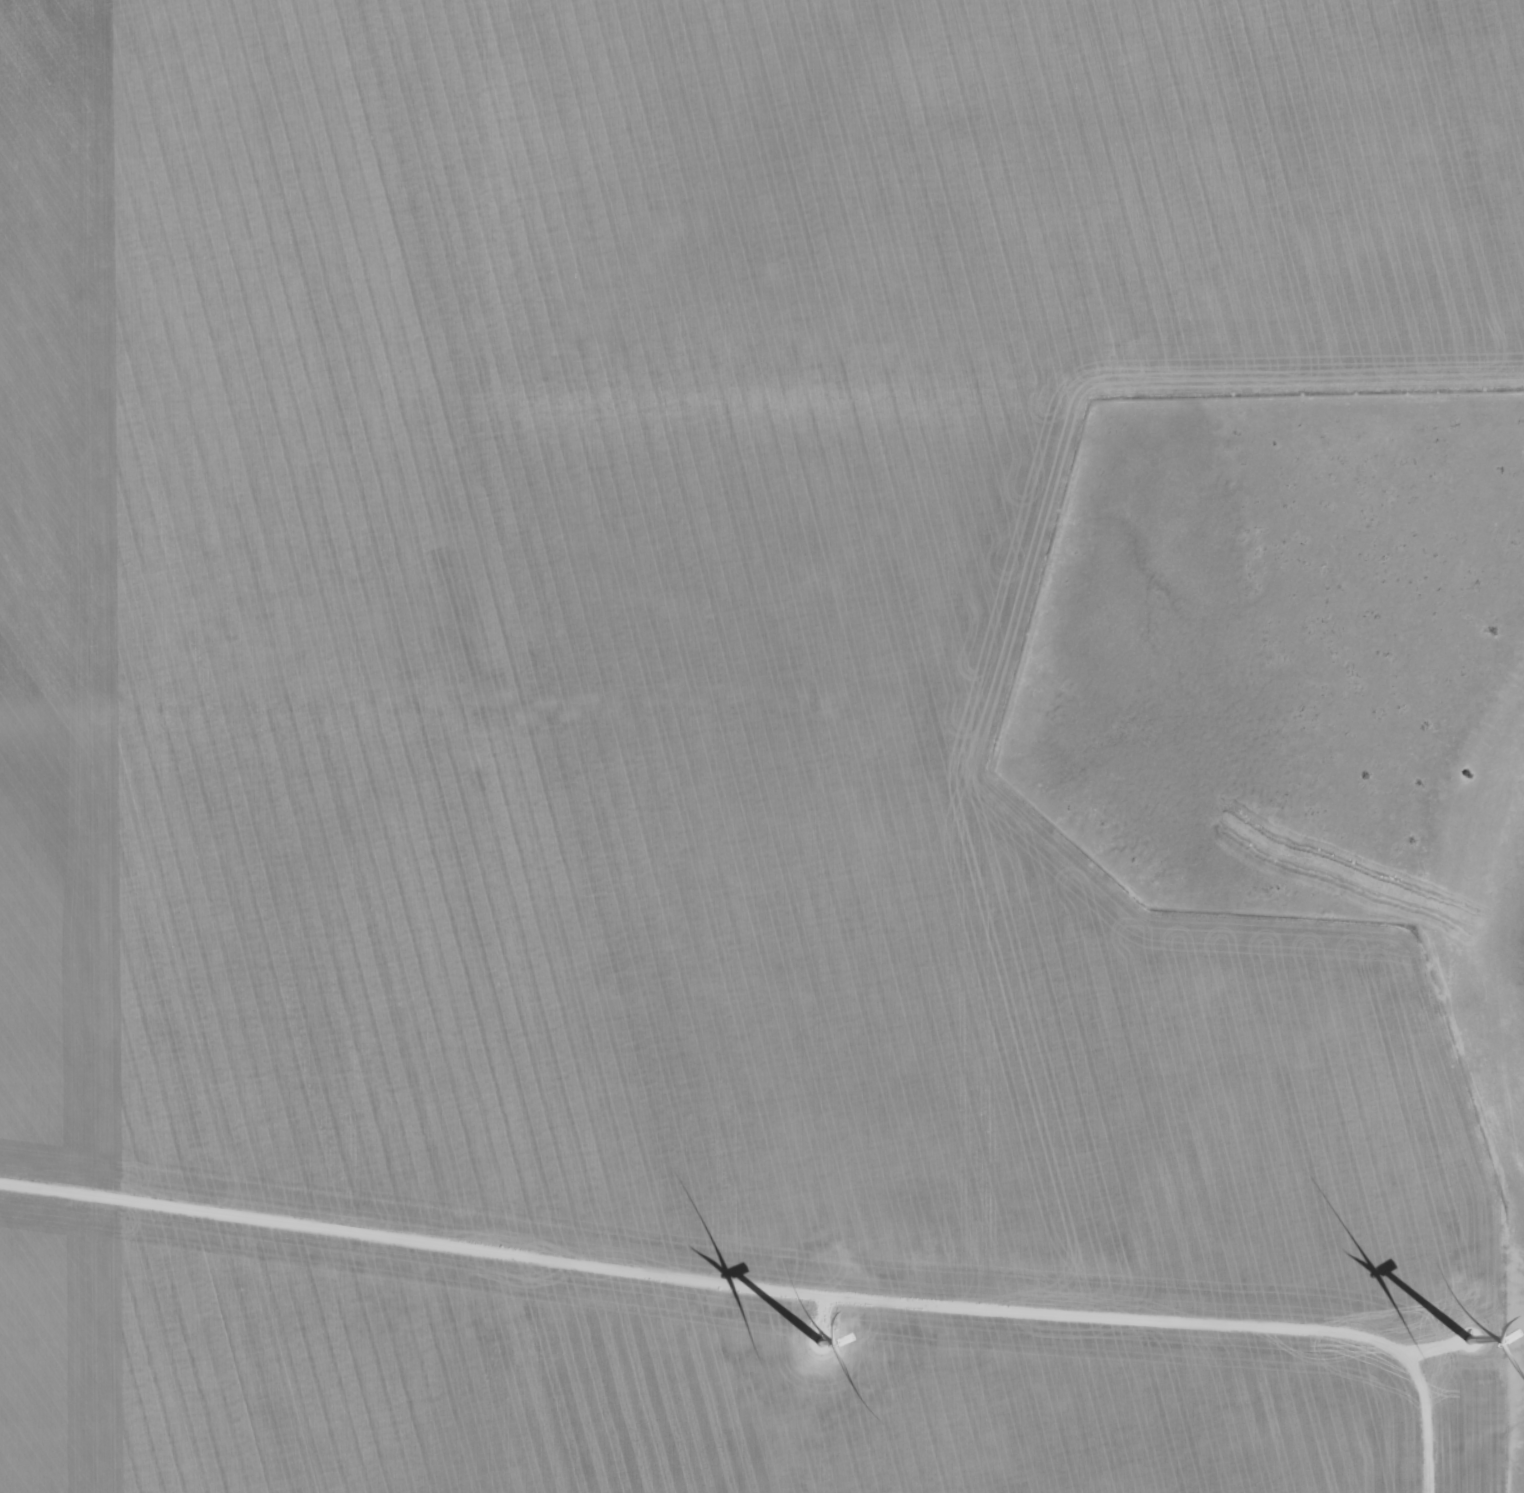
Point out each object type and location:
road: (776, 1287)
wind turbine: (1484, 1337)
wind turbine: (816, 1344)

